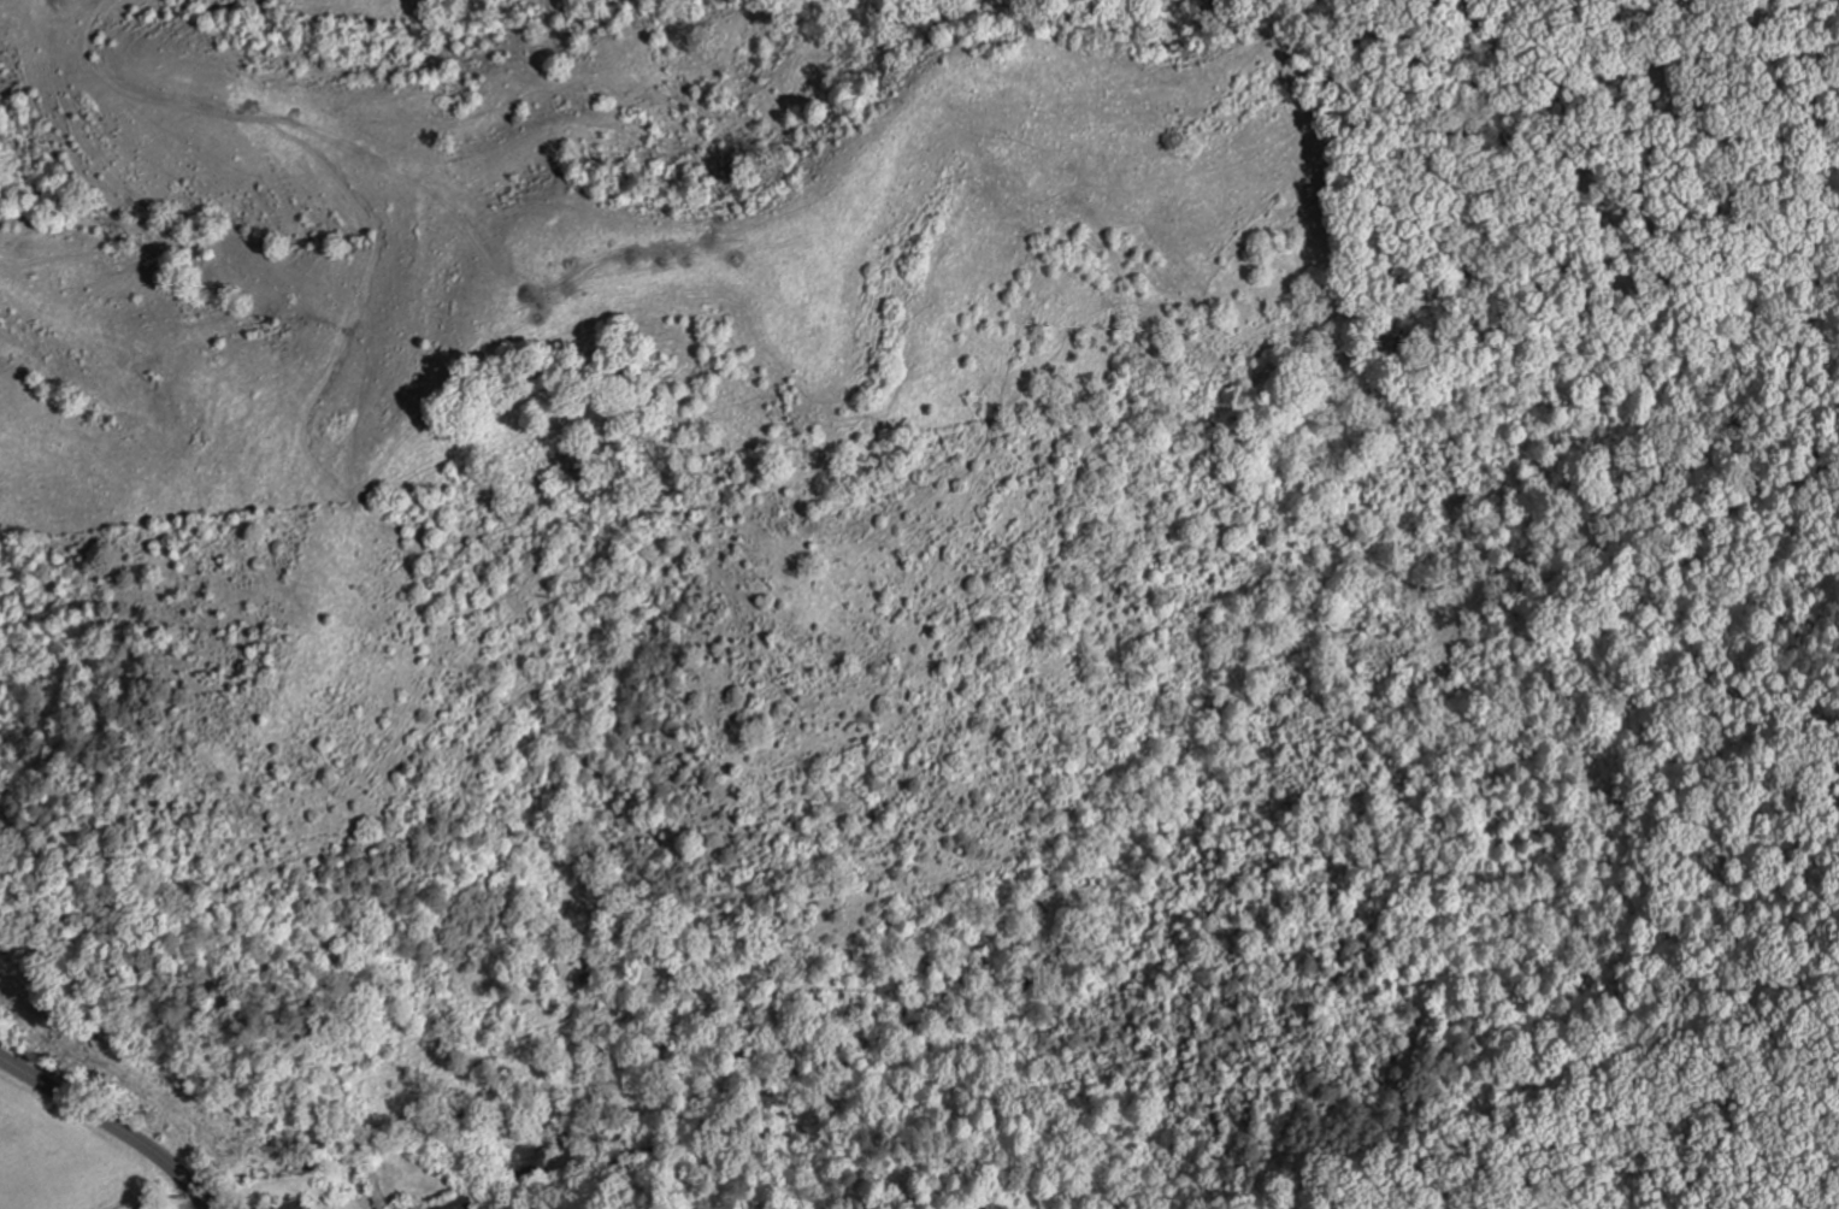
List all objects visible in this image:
road: (110, 1124)
building: (525, 1169)
building: (373, 1187)
building: (290, 1204)

